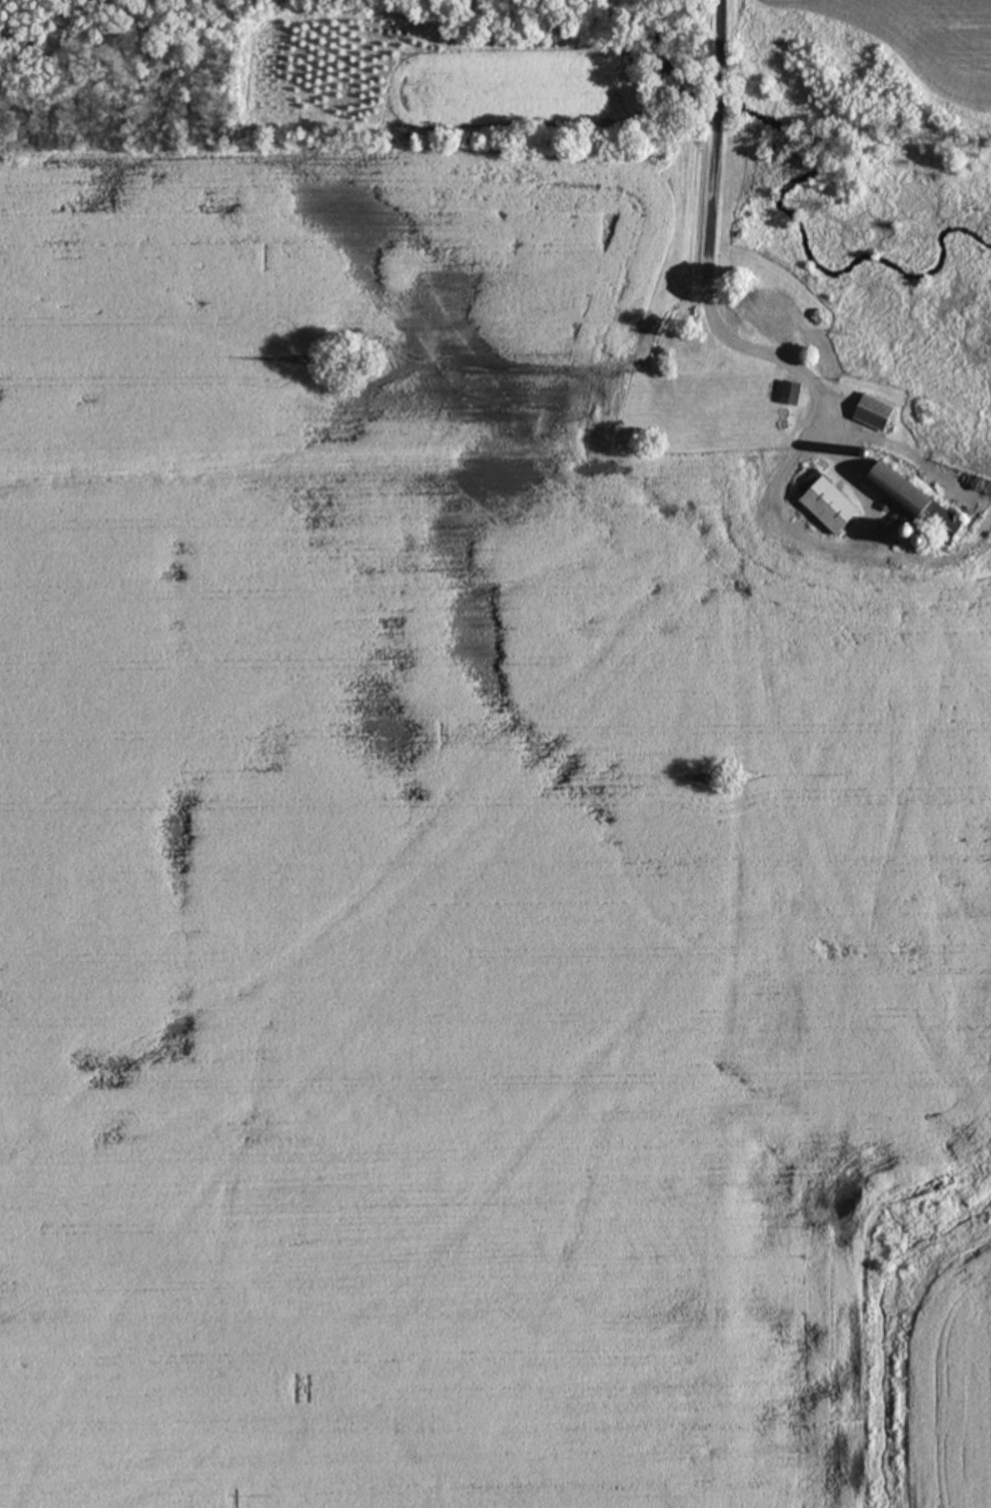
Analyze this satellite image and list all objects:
road: (708, 194)
building: (778, 314)
building: (739, 317)
building: (795, 395)
building: (879, 415)
road: (828, 423)
road: (913, 449)
building: (833, 504)
building: (920, 506)
road: (874, 555)
road: (947, 558)

